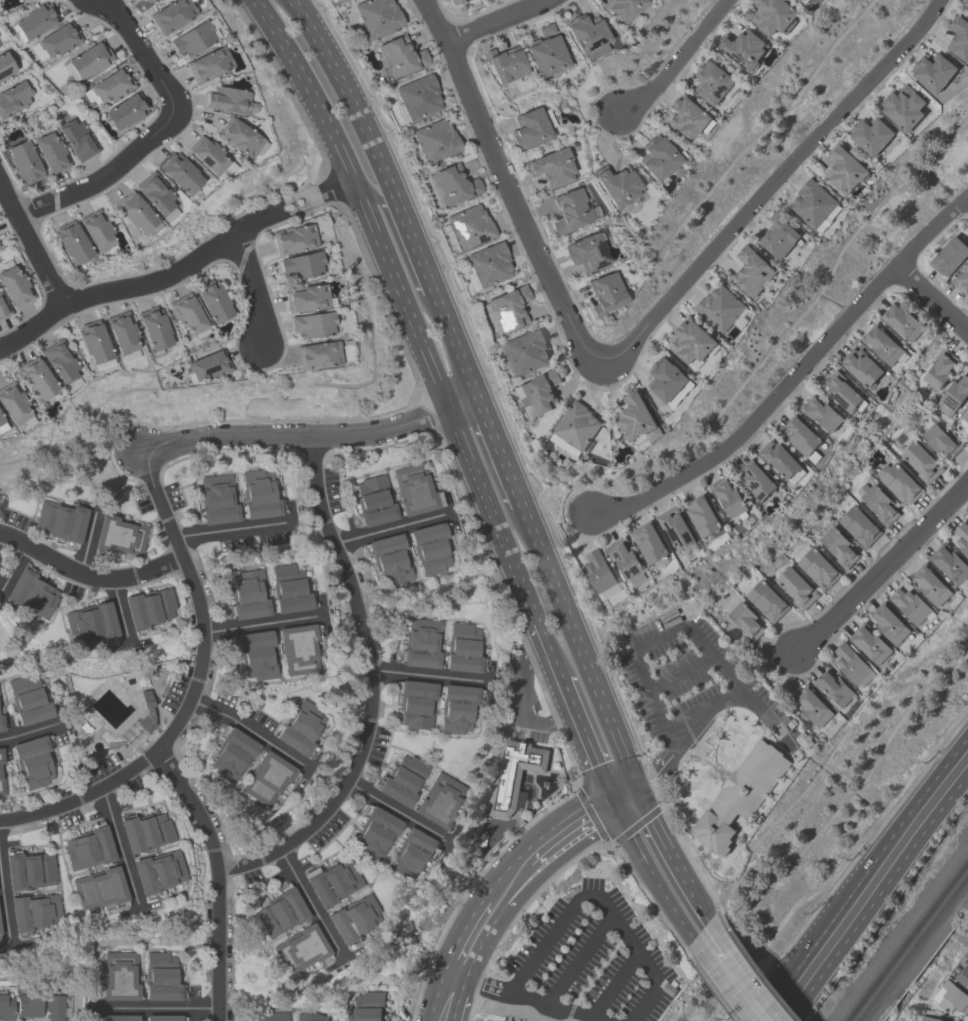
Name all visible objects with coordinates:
building: (331, 0)
building: (799, 0)
building: (146, 1)
building: (456, 1)
building: (804, 1)
building: (965, 2)
building: (622, 8)
building: (171, 15)
building: (773, 15)
building: (377, 16)
building: (36, 21)
road: (495, 21)
building: (545, 30)
building: (586, 35)
building: (959, 37)
building: (192, 39)
building: (58, 40)
building: (741, 48)
road: (139, 54)
building: (545, 55)
building: (399, 56)
building: (89, 60)
road: (676, 61)
building: (208, 65)
building: (505, 65)
building: (5, 66)
building: (933, 71)
building: (713, 81)
building: (111, 86)
road: (346, 94)
building: (15, 95)
building: (418, 97)
building: (228, 101)
building: (903, 106)
building: (125, 112)
building: (687, 117)
building: (529, 129)
building: (871, 134)
building: (240, 138)
building: (77, 139)
building: (435, 141)
building: (51, 154)
building: (207, 155)
building: (655, 158)
building: (24, 162)
building: (552, 167)
building: (844, 168)
building: (180, 173)
road: (101, 174)
road: (509, 184)
building: (615, 185)
building: (453, 186)
road: (769, 186)
building: (155, 193)
road: (967, 193)
road: (967, 194)
building: (815, 205)
building: (571, 211)
building: (134, 212)
building: (469, 227)
building: (95, 230)
building: (779, 235)
building: (294, 239)
building: (71, 242)
road: (31, 244)
road: (208, 251)
building: (586, 252)
road: (401, 253)
building: (949, 256)
road: (420, 261)
building: (302, 265)
building: (488, 265)
building: (751, 271)
building: (961, 279)
building: (15, 287)
road: (254, 288)
building: (605, 293)
road: (930, 297)
building: (305, 298)
building: (213, 303)
road: (404, 306)
building: (720, 307)
building: (3, 309)
building: (508, 309)
building: (186, 313)
building: (902, 321)
road: (30, 325)
building: (312, 325)
building: (154, 329)
building: (121, 332)
building: (93, 342)
building: (692, 342)
building: (881, 343)
building: (526, 351)
building: (316, 356)
building: (59, 361)
building: (208, 366)
building: (861, 366)
building: (939, 368)
road: (793, 374)
building: (666, 377)
building: (37, 379)
building: (842, 391)
building: (537, 394)
building: (953, 395)
building: (13, 405)
building: (821, 413)
building: (965, 414)
building: (636, 417)
building: (0, 420)
building: (1, 427)
building: (575, 428)
road: (293, 435)
building: (801, 436)
building: (940, 441)
road: (498, 452)
building: (780, 458)
building: (921, 461)
building: (755, 479)
building: (898, 482)
road: (499, 487)
building: (413, 490)
building: (257, 495)
building: (727, 495)
building: (217, 500)
building: (374, 501)
building: (880, 504)
building: (702, 515)
building: (967, 517)
building: (60, 521)
building: (859, 525)
road: (389, 527)
building: (675, 527)
road: (232, 529)
building: (120, 535)
building: (962, 537)
road: (88, 540)
building: (648, 541)
building: (839, 546)
building: (428, 549)
building: (389, 558)
building: (627, 561)
building: (950, 564)
road: (12, 567)
road: (883, 567)
building: (817, 568)
building: (598, 571)
road: (88, 576)
building: (930, 584)
building: (796, 587)
building: (288, 589)
building: (30, 594)
building: (248, 595)
road: (197, 598)
building: (766, 600)
building: (911, 605)
road: (118, 608)
building: (148, 608)
building: (745, 620)
building: (90, 622)
road: (262, 622)
building: (889, 622)
building: (870, 643)
building: (421, 644)
road: (531, 645)
road: (644, 645)
building: (462, 648)
building: (297, 649)
road: (548, 649)
building: (256, 654)
building: (853, 665)
road: (681, 673)
road: (427, 674)
road: (592, 681)
road: (371, 687)
building: (833, 687)
building: (28, 700)
building: (416, 704)
building: (813, 707)
building: (457, 708)
road: (526, 718)
building: (1, 724)
road: (246, 726)
building: (299, 728)
road: (29, 731)
building: (803, 738)
road: (585, 739)
building: (232, 755)
building: (32, 762)
road: (657, 769)
building: (514, 774)
building: (1, 777)
building: (266, 778)
building: (402, 780)
traffic signals: (636, 787)
building: (742, 793)
road: (624, 794)
road: (83, 795)
building: (439, 801)
traffic signals: (612, 801)
road: (398, 812)
building: (145, 832)
building: (374, 835)
road: (549, 846)
road: (119, 847)
road: (668, 847)
building: (88, 849)
building: (410, 855)
road: (871, 862)
road: (568, 866)
building: (29, 871)
road: (653, 871)
building: (157, 872)
road: (217, 877)
building: (332, 883)
building: (98, 888)
road: (878, 891)
road: (310, 902)
road: (4, 904)
building: (32, 912)
building: (280, 913)
road: (566, 916)
building: (353, 919)
road: (702, 920)
railway: (899, 935)
road: (475, 938)
railway: (906, 942)
road: (712, 946)
building: (300, 949)
railway: (913, 949)
road: (579, 957)
building: (120, 977)
building: (963, 977)
building: (161, 978)
road: (483, 983)
road: (615, 984)
road: (714, 989)
road: (743, 991)
road: (449, 998)
building: (952, 999)
building: (29, 1003)
building: (369, 1005)
road: (764, 1006)
building: (6, 1007)
building: (54, 1007)
road: (155, 1007)
building: (273, 1016)
road: (787, 1016)
building: (312, 1017)
building: (119, 1018)
building: (162, 1018)
building: (930, 1019)

